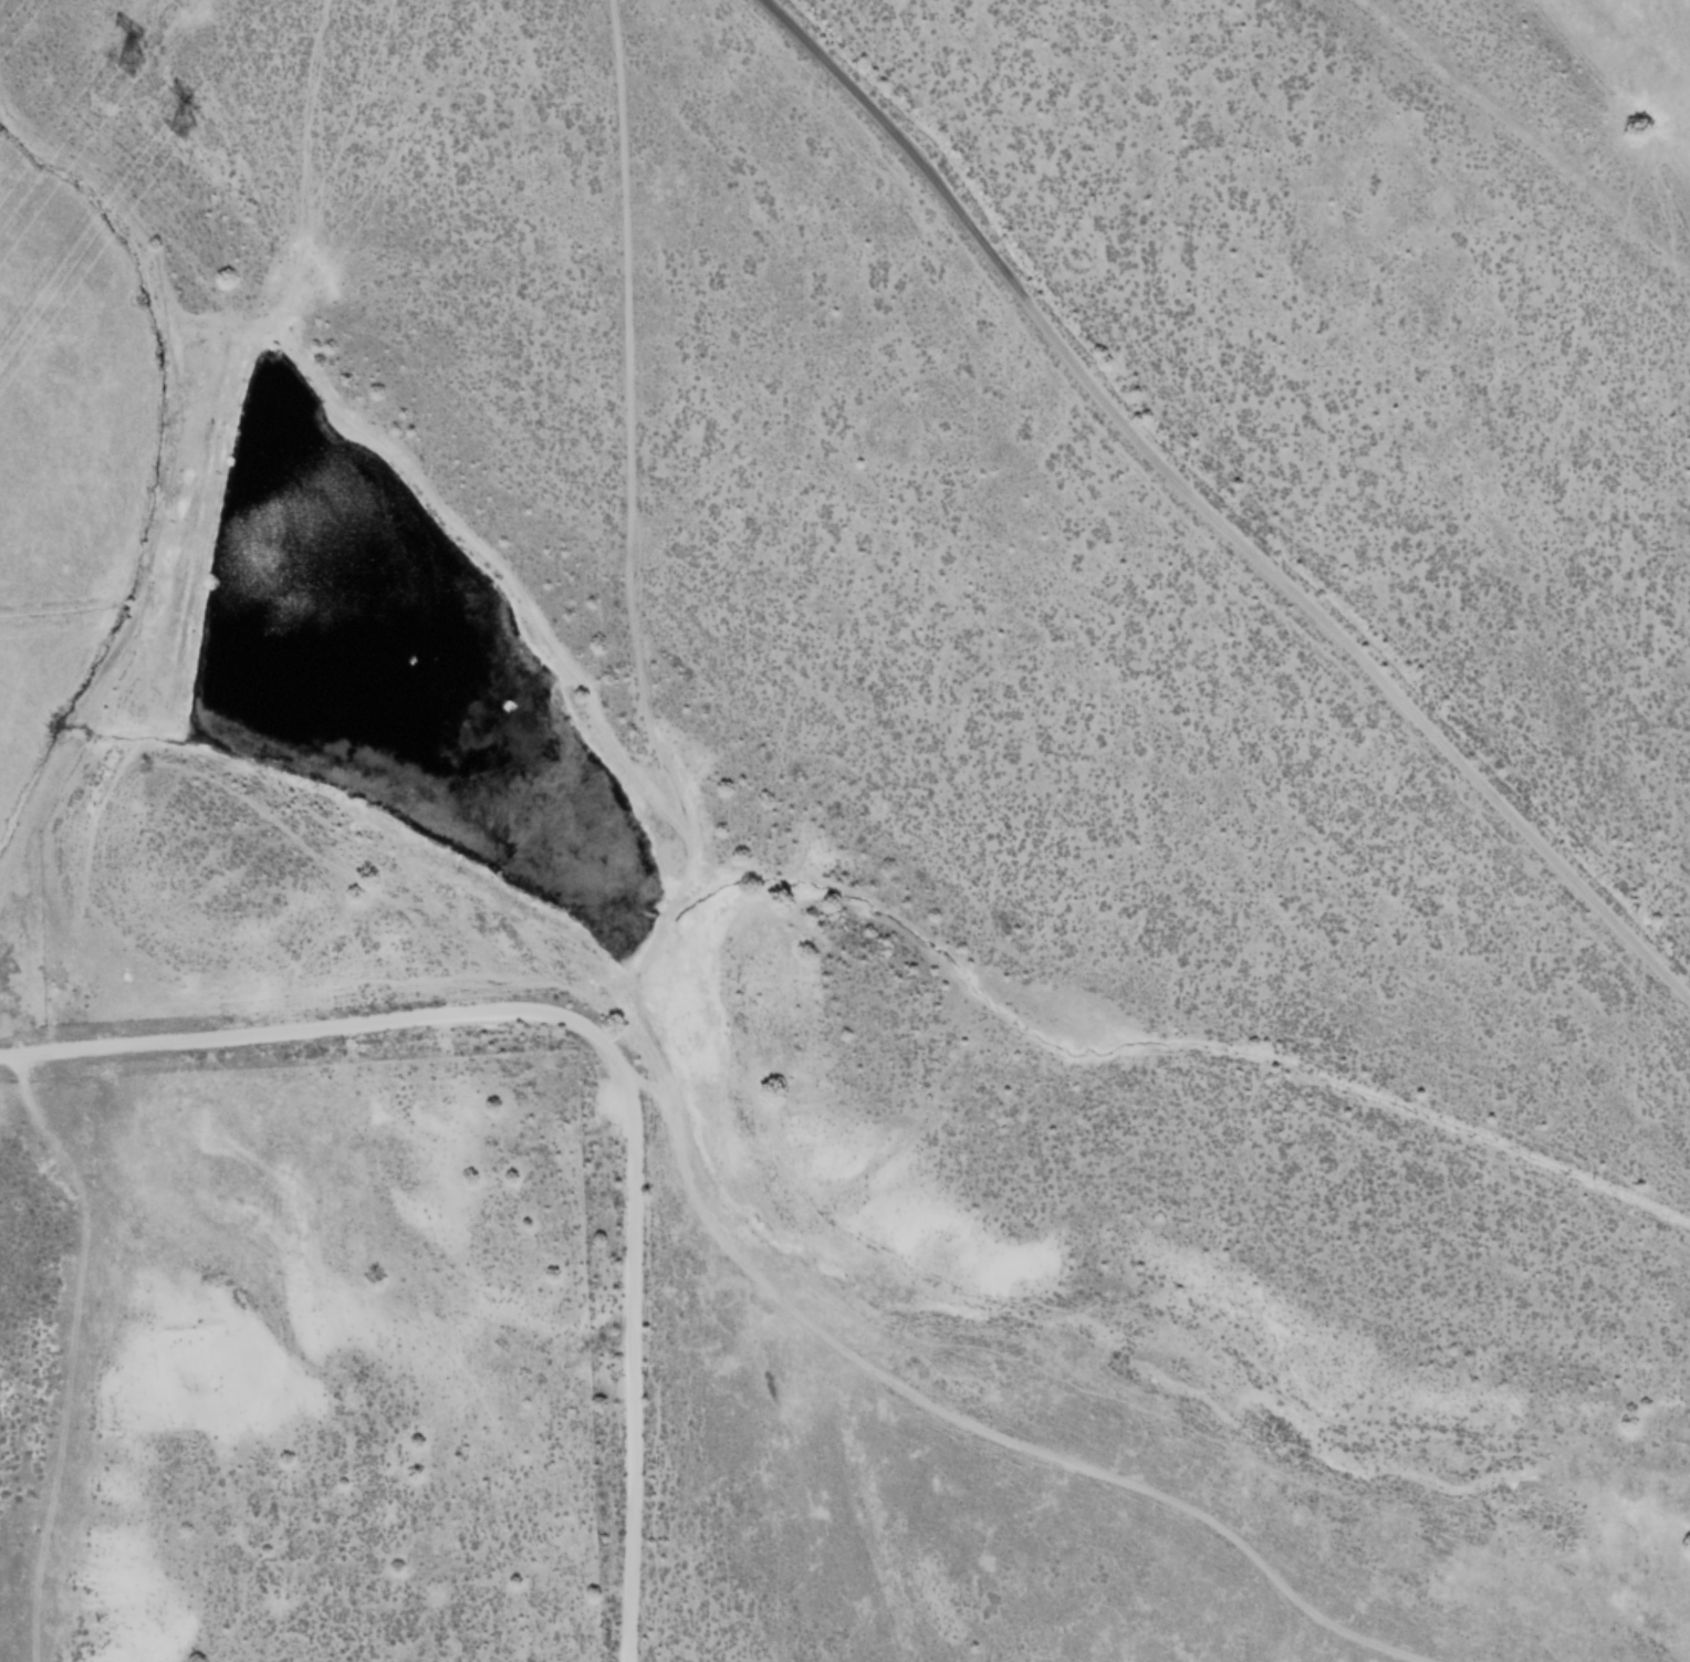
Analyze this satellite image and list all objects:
power tower: (106, 79)
power tower: (176, 130)
dam: (187, 553)
road: (607, 1046)
road: (1005, 1405)

